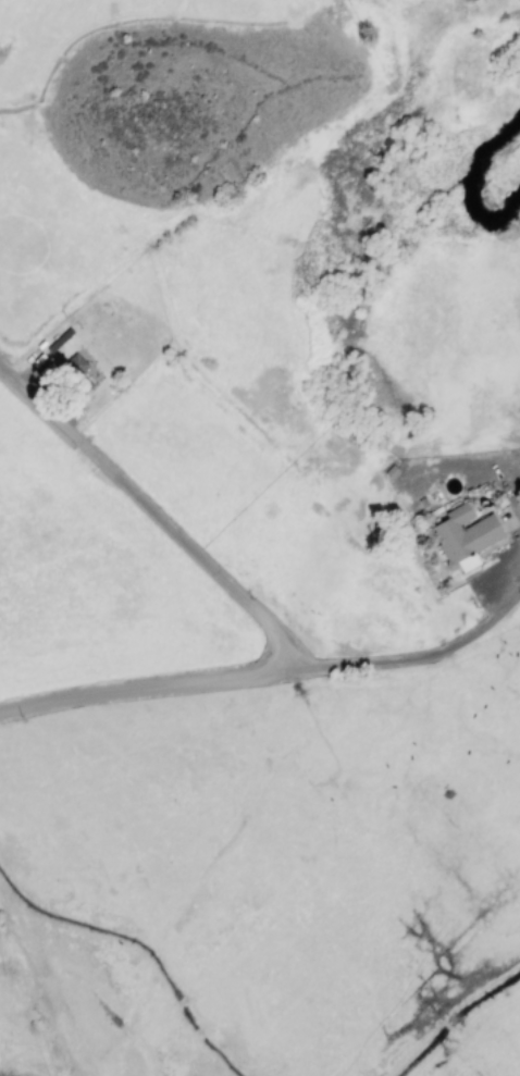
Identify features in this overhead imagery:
river: (467, 188)
building: (79, 370)
building: (465, 535)
road: (244, 601)
road: (400, 653)

